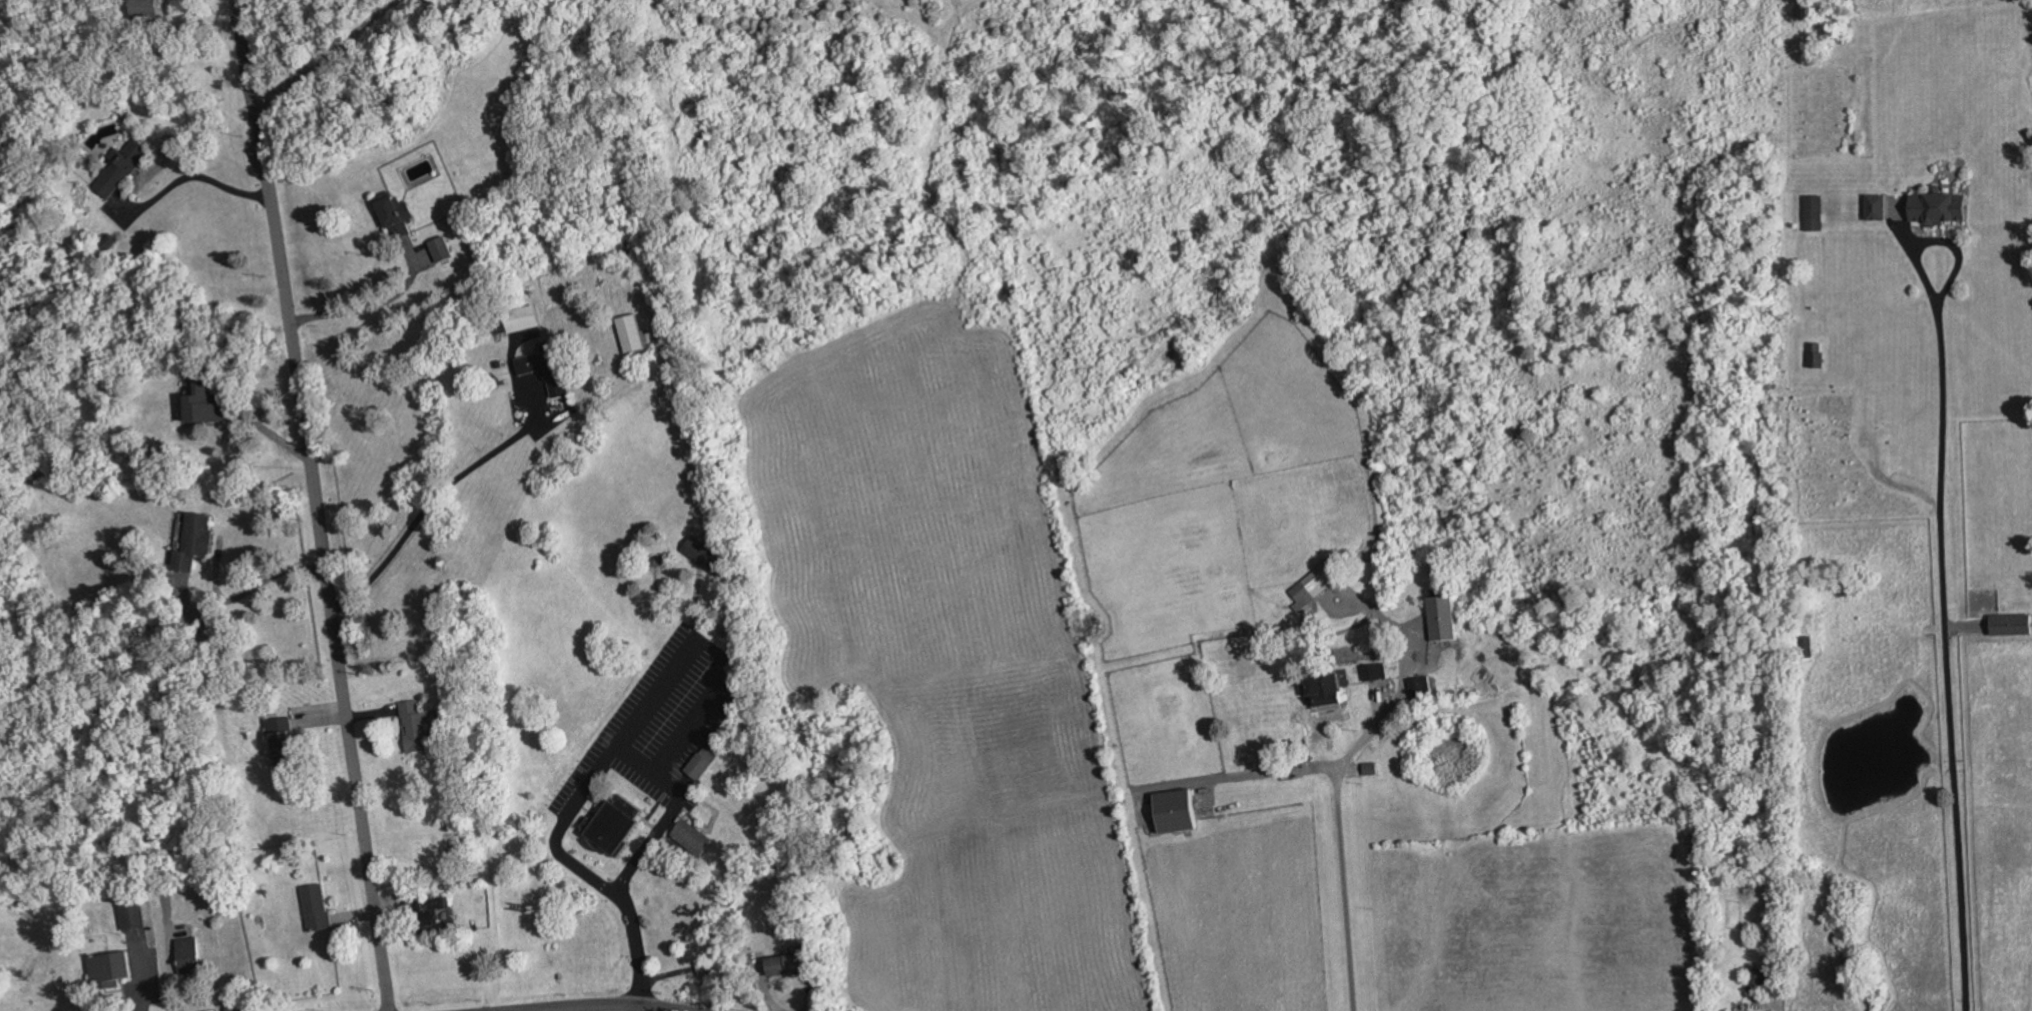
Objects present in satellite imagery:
building: (146, 6)
road: (329, 59)
building: (119, 168)
road: (185, 173)
building: (1876, 207)
building: (1939, 207)
building: (1814, 213)
building: (395, 214)
building: (108, 242)
building: (441, 249)
road: (366, 305)
building: (522, 319)
building: (631, 333)
building: (1817, 355)
road: (1942, 366)
building: (547, 368)
building: (203, 405)
road: (430, 501)
road: (317, 504)
building: (194, 541)
building: (705, 555)
road: (252, 586)
building: (1443, 618)
building: (2011, 625)
building: (1806, 647)
road: (713, 654)
building: (1375, 672)
building: (1421, 687)
building: (1327, 690)
building: (417, 728)
building: (283, 742)
road: (1953, 762)
building: (702, 763)
building: (1371, 769)
road: (1272, 772)
road: (577, 795)
building: (1176, 811)
building: (616, 825)
building: (693, 838)
road: (1339, 845)
building: (316, 908)
building: (431, 914)
building: (132, 916)
building: (188, 955)
building: (786, 965)
road: (169, 968)
building: (110, 971)
building: (1757, 981)
road: (806, 995)
road: (1782, 1004)
road: (604, 1006)
building: (238, 1007)

